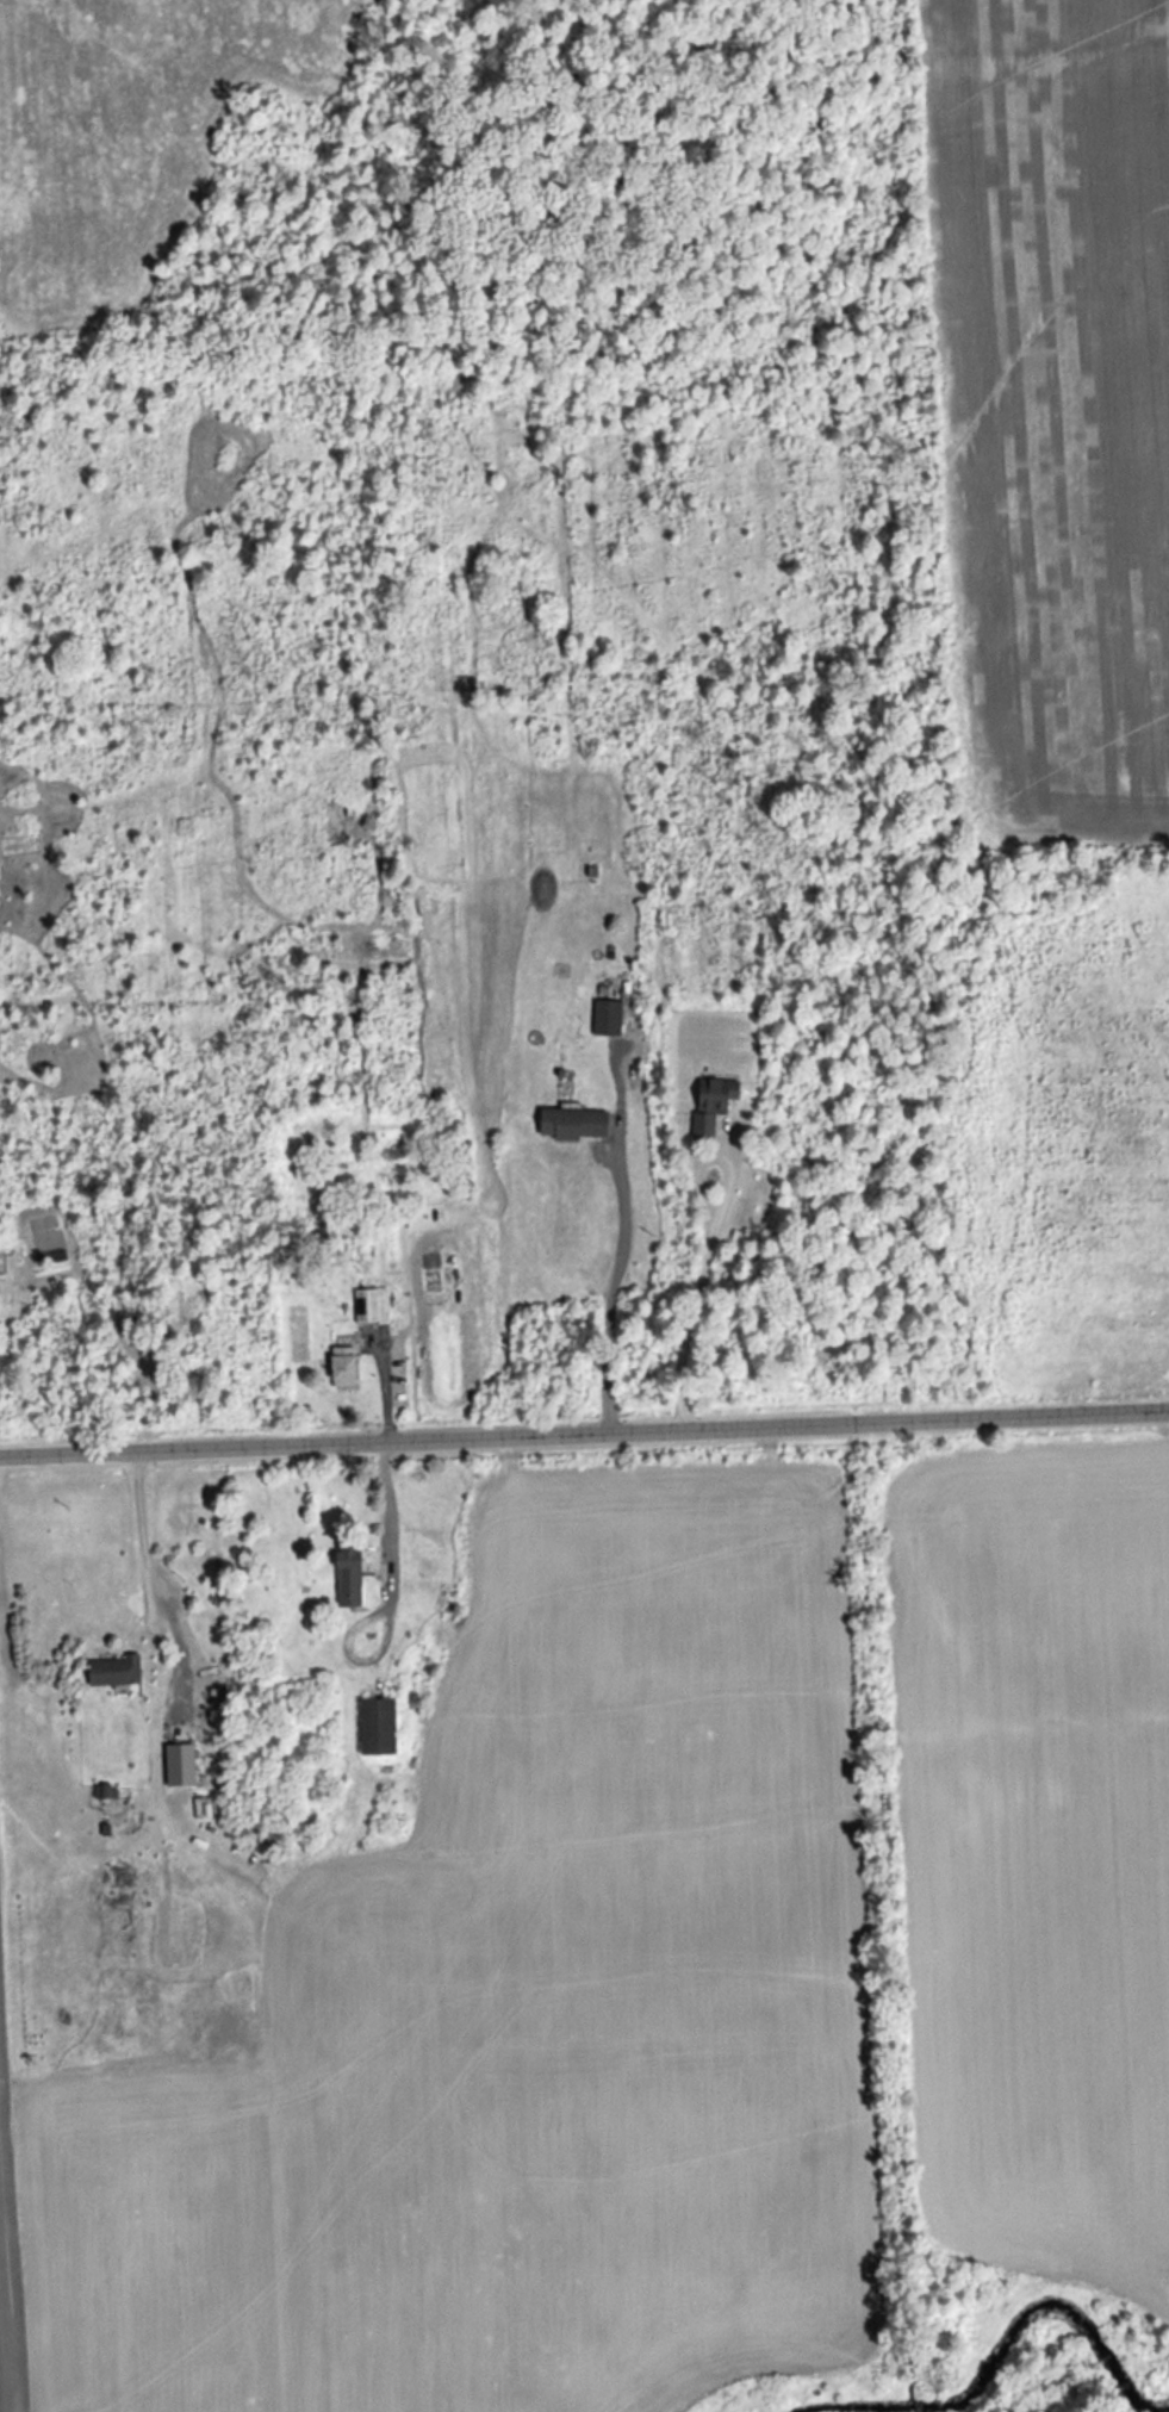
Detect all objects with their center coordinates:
building: (604, 1017)
building: (708, 1104)
building: (567, 1124)
building: (394, 1164)
road: (699, 1256)
road: (605, 1288)
building: (362, 1306)
building: (338, 1367)
road: (584, 1435)
road: (135, 1524)
building: (342, 1575)
road: (377, 1598)
building: (108, 1671)
building: (373, 1728)
river: (1018, 2337)
river: (807, 2407)

